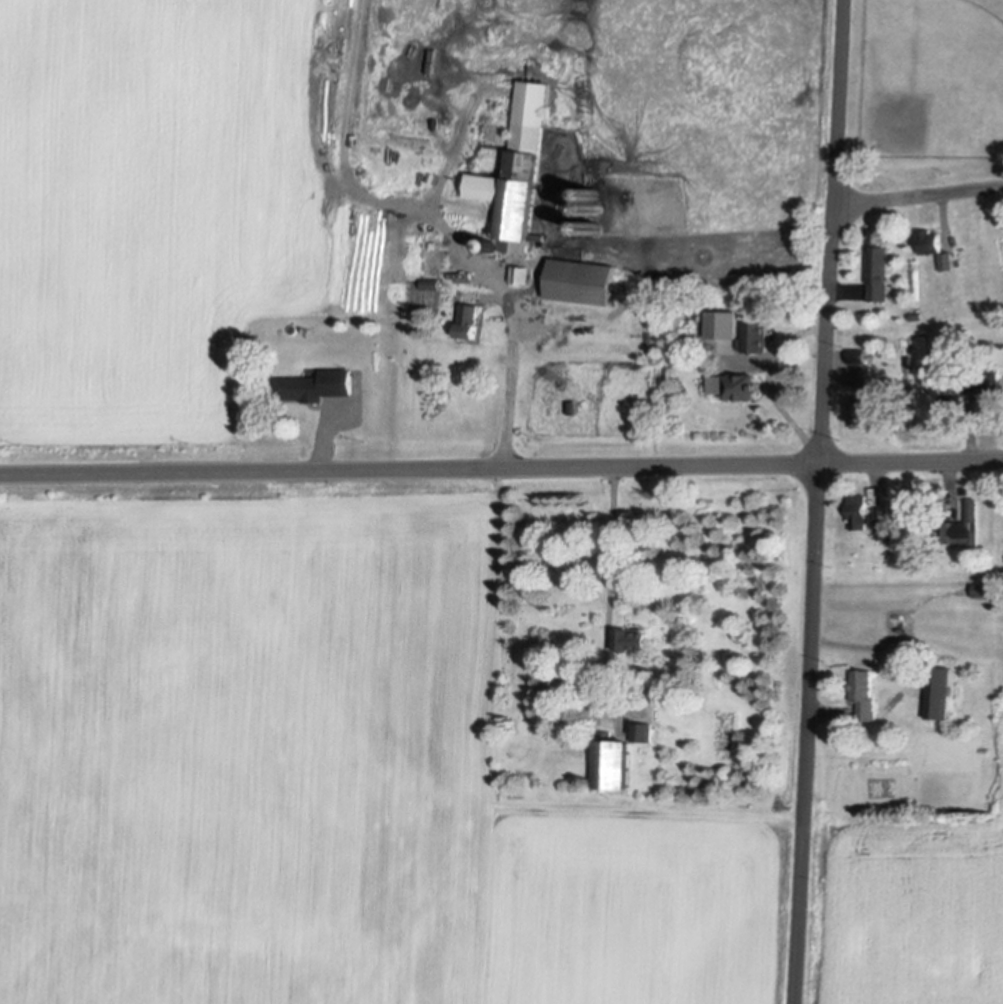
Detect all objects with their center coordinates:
building: (515, 170)
road: (918, 193)
building: (927, 240)
building: (944, 260)
building: (877, 271)
building: (578, 280)
building: (754, 335)
road: (514, 363)
building: (987, 384)
building: (300, 385)
building: (737, 385)
building: (860, 410)
building: (951, 410)
road: (316, 447)
road: (501, 465)
road: (818, 502)
building: (858, 509)
building: (961, 525)
building: (885, 527)
road: (611, 586)
building: (899, 617)
building: (630, 637)
building: (862, 690)
building: (938, 690)
building: (641, 729)
building: (610, 760)

